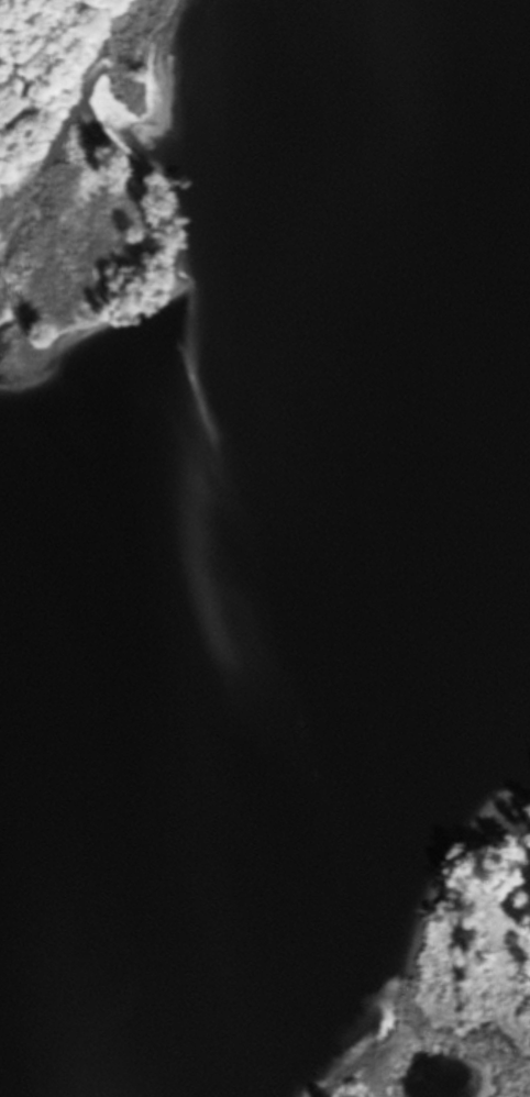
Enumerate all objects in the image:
park: (412, 1005)

